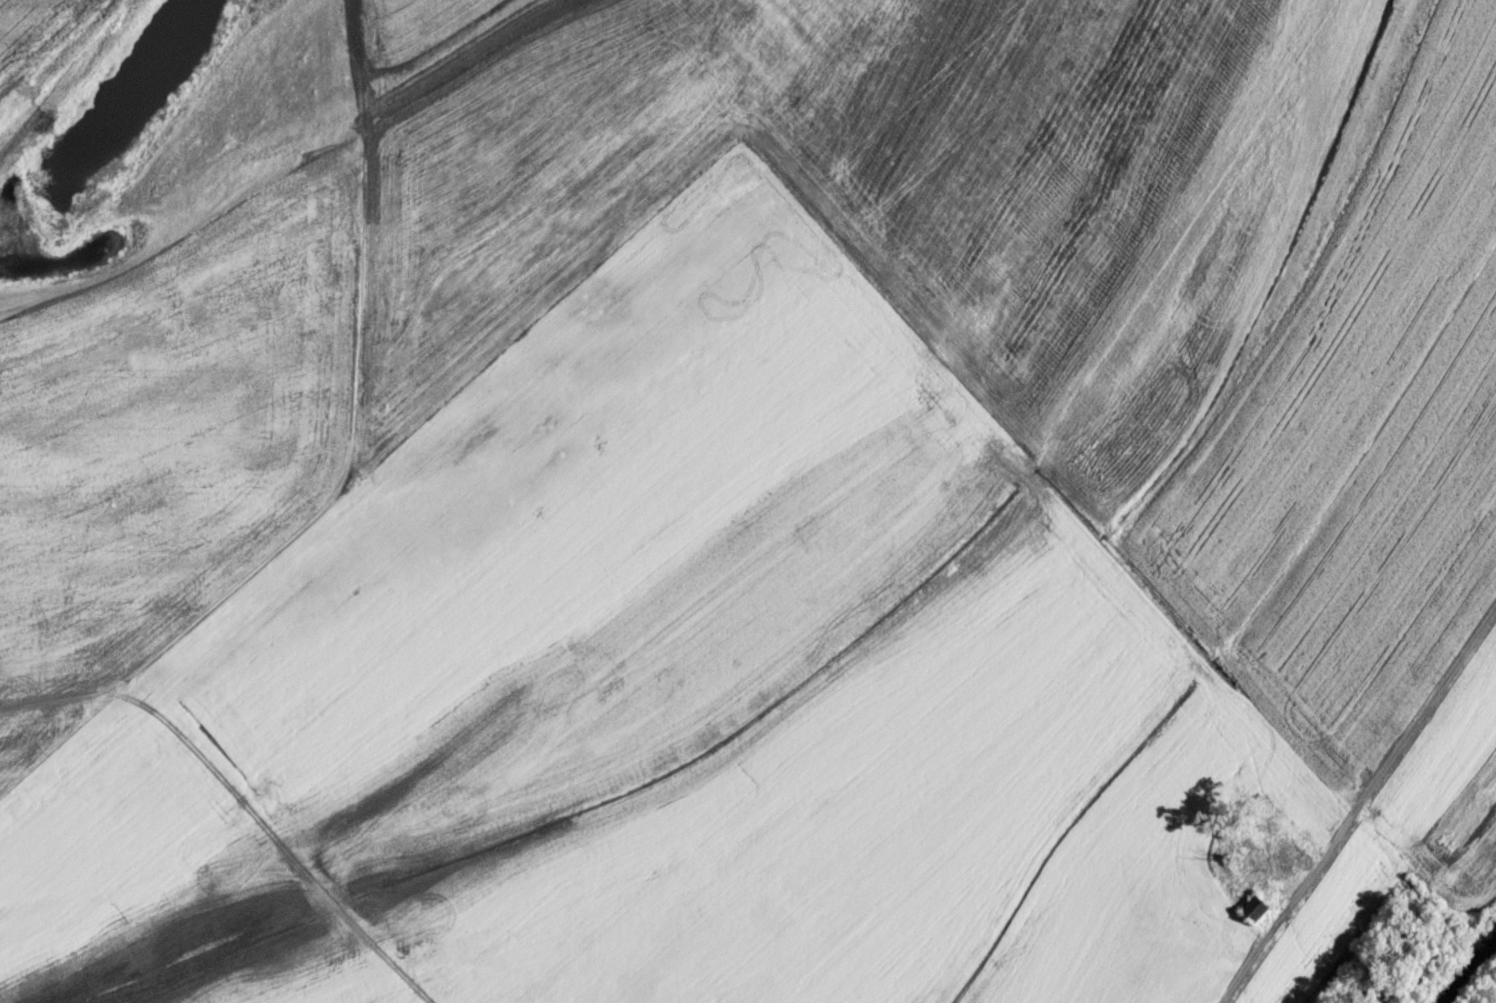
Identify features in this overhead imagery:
building: (1253, 906)

